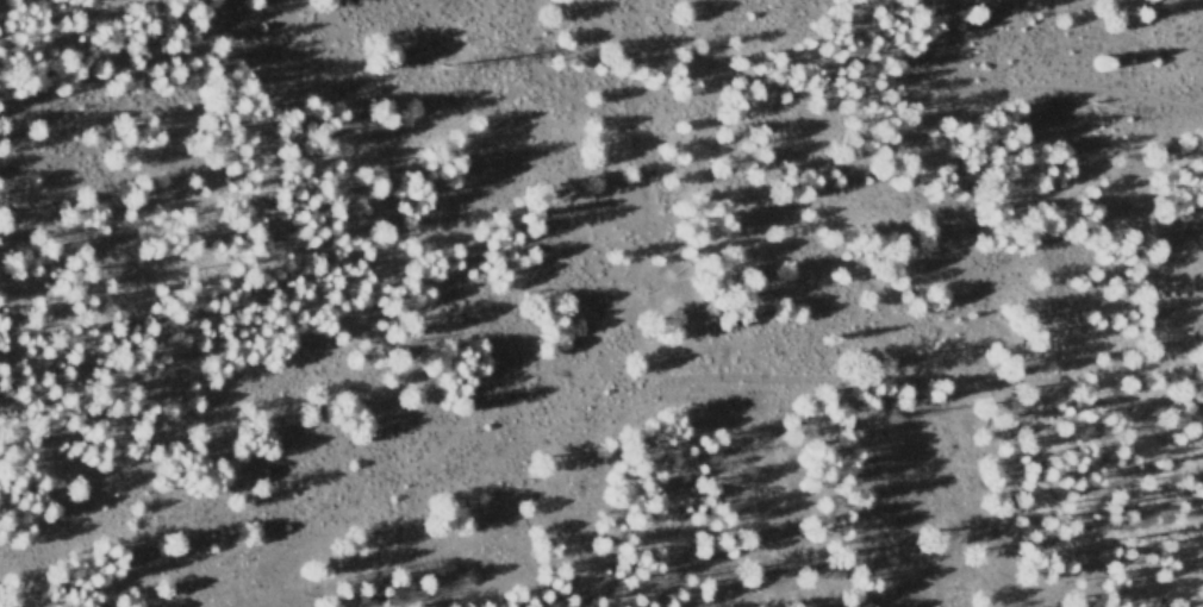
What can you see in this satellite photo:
road: (33, 11)
road: (448, 533)

